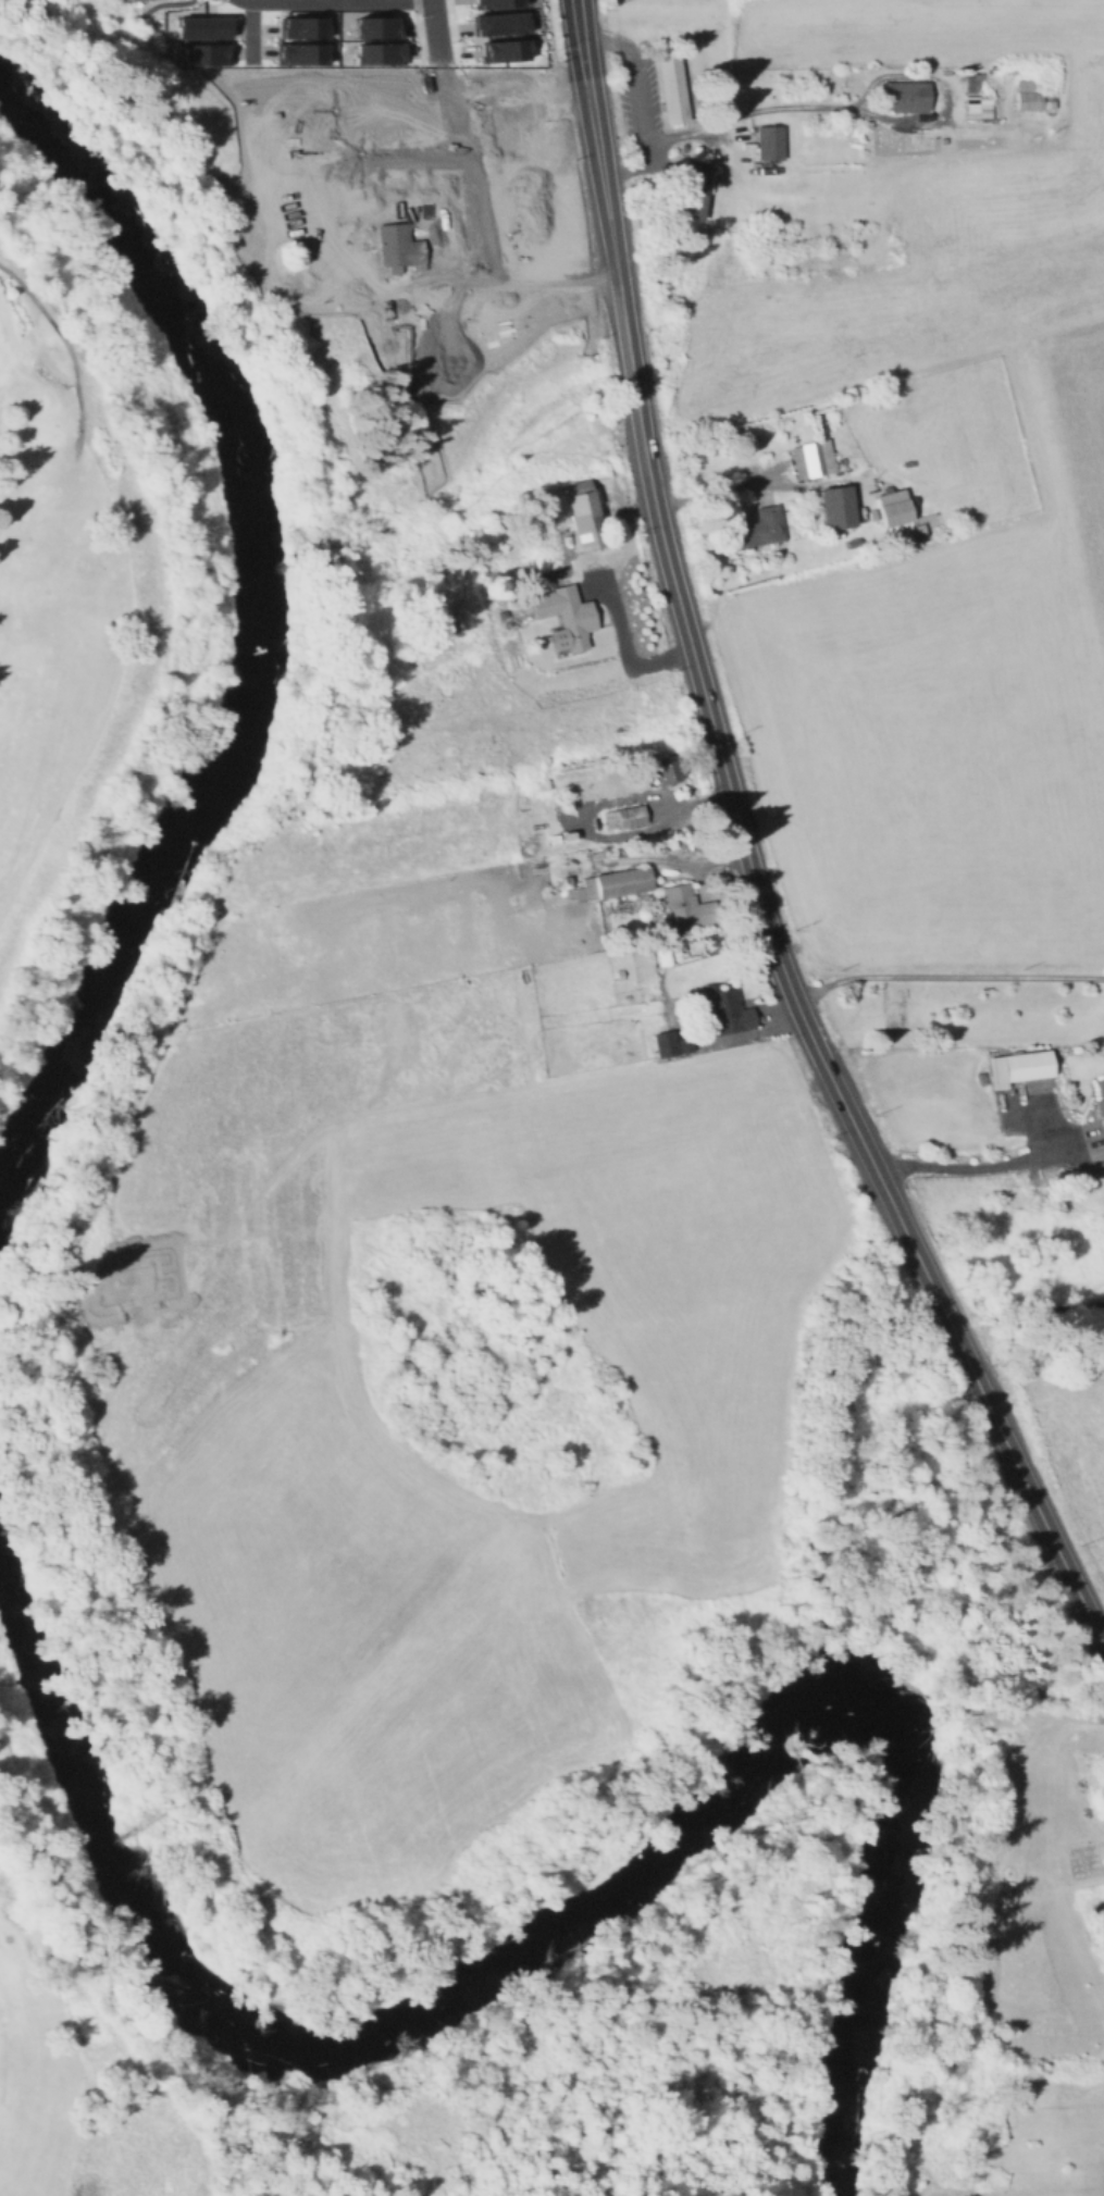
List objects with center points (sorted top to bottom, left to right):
road: (340, 0)
building: (492, 2)
road: (165, 3)
road: (57, 5)
building: (496, 22)
road: (997, 23)
building: (198, 25)
building: (298, 26)
building: (373, 26)
road: (249, 29)
road: (125, 32)
road: (579, 33)
road: (100, 41)
street lamp: (556, 48)
building: (500, 49)
building: (375, 52)
building: (200, 53)
building: (296, 53)
building: (293, 82)
building: (505, 85)
building: (669, 87)
building: (365, 92)
building: (902, 95)
building: (1029, 95)
building: (973, 97)
parking lot: (632, 101)
road: (817, 104)
building: (350, 106)
road: (635, 106)
building: (291, 108)
building: (511, 108)
building: (376, 110)
building: (404, 112)
road: (454, 112)
building: (393, 114)
building: (293, 133)
building: (516, 133)
road: (330, 134)
road: (460, 138)
building: (767, 140)
road: (435, 151)
road: (412, 156)
building: (523, 159)
building: (293, 160)
street lamp: (572, 165)
road: (350, 168)
road: (570, 170)
road: (307, 178)
road: (471, 184)
building: (530, 185)
road: (263, 188)
building: (689, 188)
road: (252, 197)
building: (412, 201)
building: (437, 201)
building: (388, 208)
building: (532, 212)
building: (362, 215)
building: (335, 219)
road: (608, 219)
road: (456, 227)
building: (538, 239)
building: (394, 244)
building: (400, 262)
building: (538, 268)
street lamp: (590, 275)
road: (461, 288)
building: (401, 291)
building: (537, 297)
road: (415, 311)
road: (427, 320)
road: (520, 321)
road: (523, 326)
building: (476, 340)
road: (66, 348)
building: (454, 352)
building: (427, 355)
building: (809, 457)
road: (714, 487)
building: (835, 505)
building: (892, 508)
building: (583, 514)
building: (758, 529)
park: (66, 567)
building: (562, 615)
river: (252, 635)
road: (621, 641)
building: (668, 769)
road: (729, 789)
building: (624, 817)
building: (617, 883)
building: (686, 908)
road: (946, 977)
building: (896, 1012)
building: (724, 1013)
building: (670, 1044)
building: (1021, 1066)
building: (1101, 1100)
road: (1041, 1119)
road: (983, 1165)
road: (929, 1282)
road: (1039, 1511)
river: (873, 1925)
river: (337, 2027)
park: (442, 2061)

